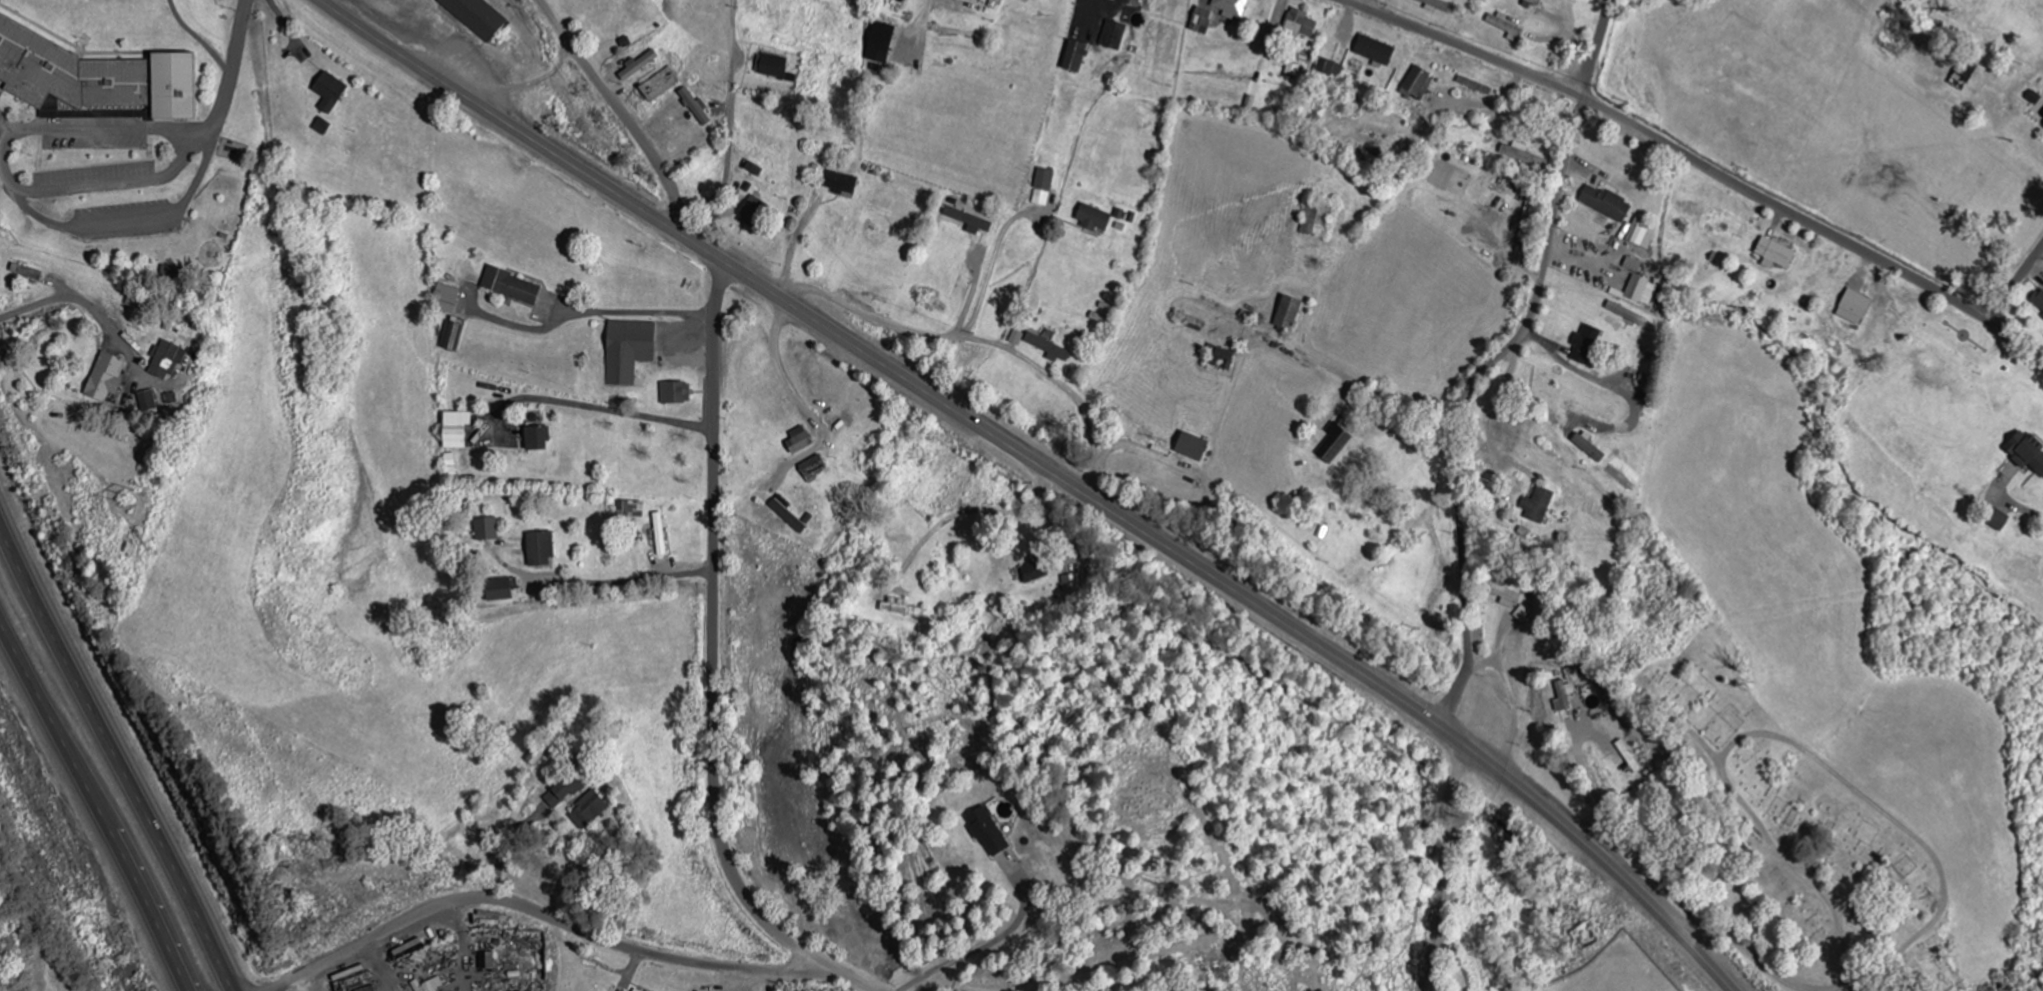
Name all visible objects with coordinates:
building: (978, 0)
building: (997, 1)
building: (1530, 4)
building: (1437, 5)
building: (475, 17)
building: (1201, 21)
building: (1299, 24)
building: (1505, 27)
building: (1113, 35)
building: (879, 43)
building: (1374, 50)
building: (1074, 57)
building: (770, 66)
building: (1970, 66)
building: (1330, 69)
building: (94, 77)
building: (1417, 84)
building: (660, 86)
building: (1474, 86)
building: (329, 93)
building: (2034, 98)
building: (49, 108)
road: (730, 121)
building: (321, 127)
road: (524, 135)
road: (637, 135)
building: (1523, 155)
road: (1700, 162)
building: (754, 169)
building: (1044, 180)
building: (843, 183)
building: (1040, 198)
building: (1605, 204)
road: (666, 217)
building: (1092, 218)
building: (969, 221)
building: (1315, 221)
building: (1632, 231)
building: (1643, 238)
building: (1775, 254)
building: (1632, 265)
building: (25, 273)
road: (2015, 285)
building: (510, 287)
building: (1640, 292)
building: (446, 299)
building: (2039, 300)
building: (1854, 308)
building: (1287, 313)
building: (1626, 314)
building: (454, 335)
building: (1016, 339)
building: (1585, 345)
building: (1048, 349)
building: (628, 351)
building: (1222, 360)
building: (167, 361)
road: (1495, 362)
building: (105, 378)
building: (674, 393)
building: (147, 402)
building: (455, 430)
building: (536, 439)
building: (797, 441)
building: (1334, 444)
building: (1191, 446)
building: (2026, 452)
building: (450, 465)
building: (813, 469)
building: (1538, 505)
building: (630, 509)
building: (786, 515)
building: (1997, 520)
building: (486, 530)
building: (660, 535)
building: (539, 549)
building: (1034, 572)
building: (1072, 584)
building: (496, 591)
building: (1504, 595)
road: (1253, 602)
building: (902, 609)
road: (713, 663)
building: (1564, 696)
building: (533, 755)
road: (113, 759)
building: (557, 790)
building: (582, 809)
road: (88, 812)
park: (1801, 826)
building: (987, 832)
road: (550, 920)
building: (485, 960)
building: (428, 985)
building: (635, 990)

